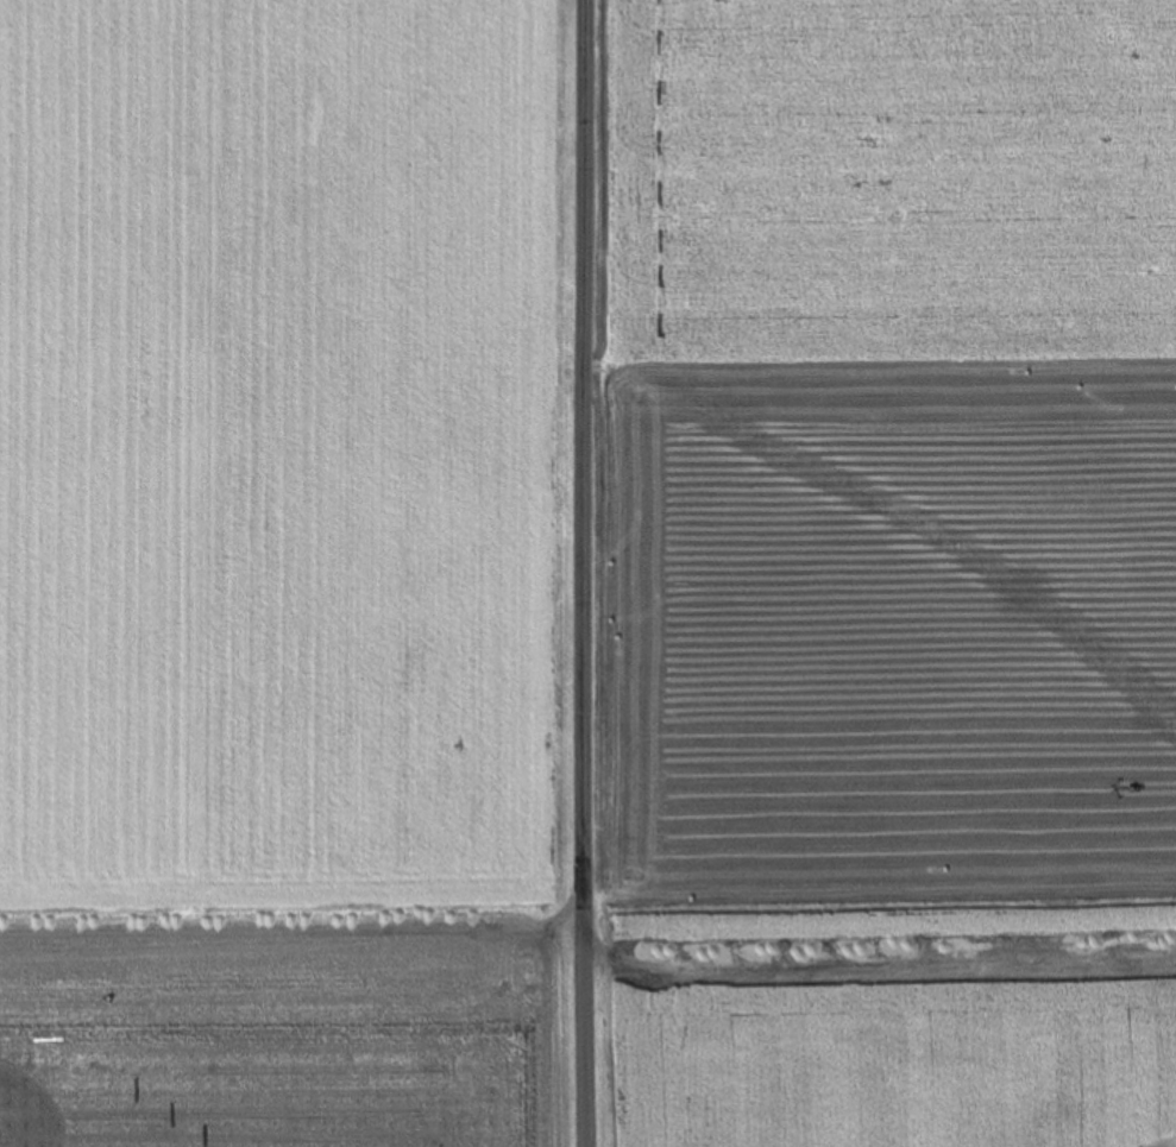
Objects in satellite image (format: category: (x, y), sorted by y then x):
road: (603, 573)

